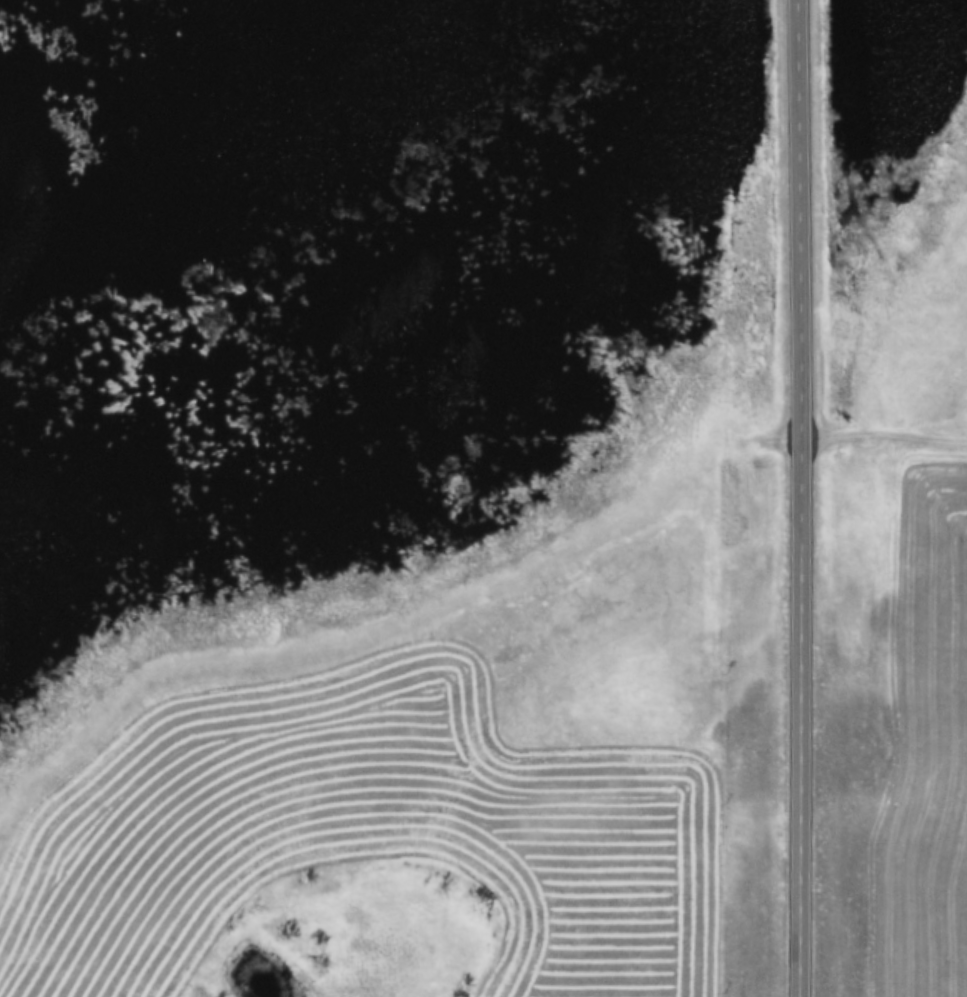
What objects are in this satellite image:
road: (802, 195)
road: (885, 433)
road: (803, 694)

